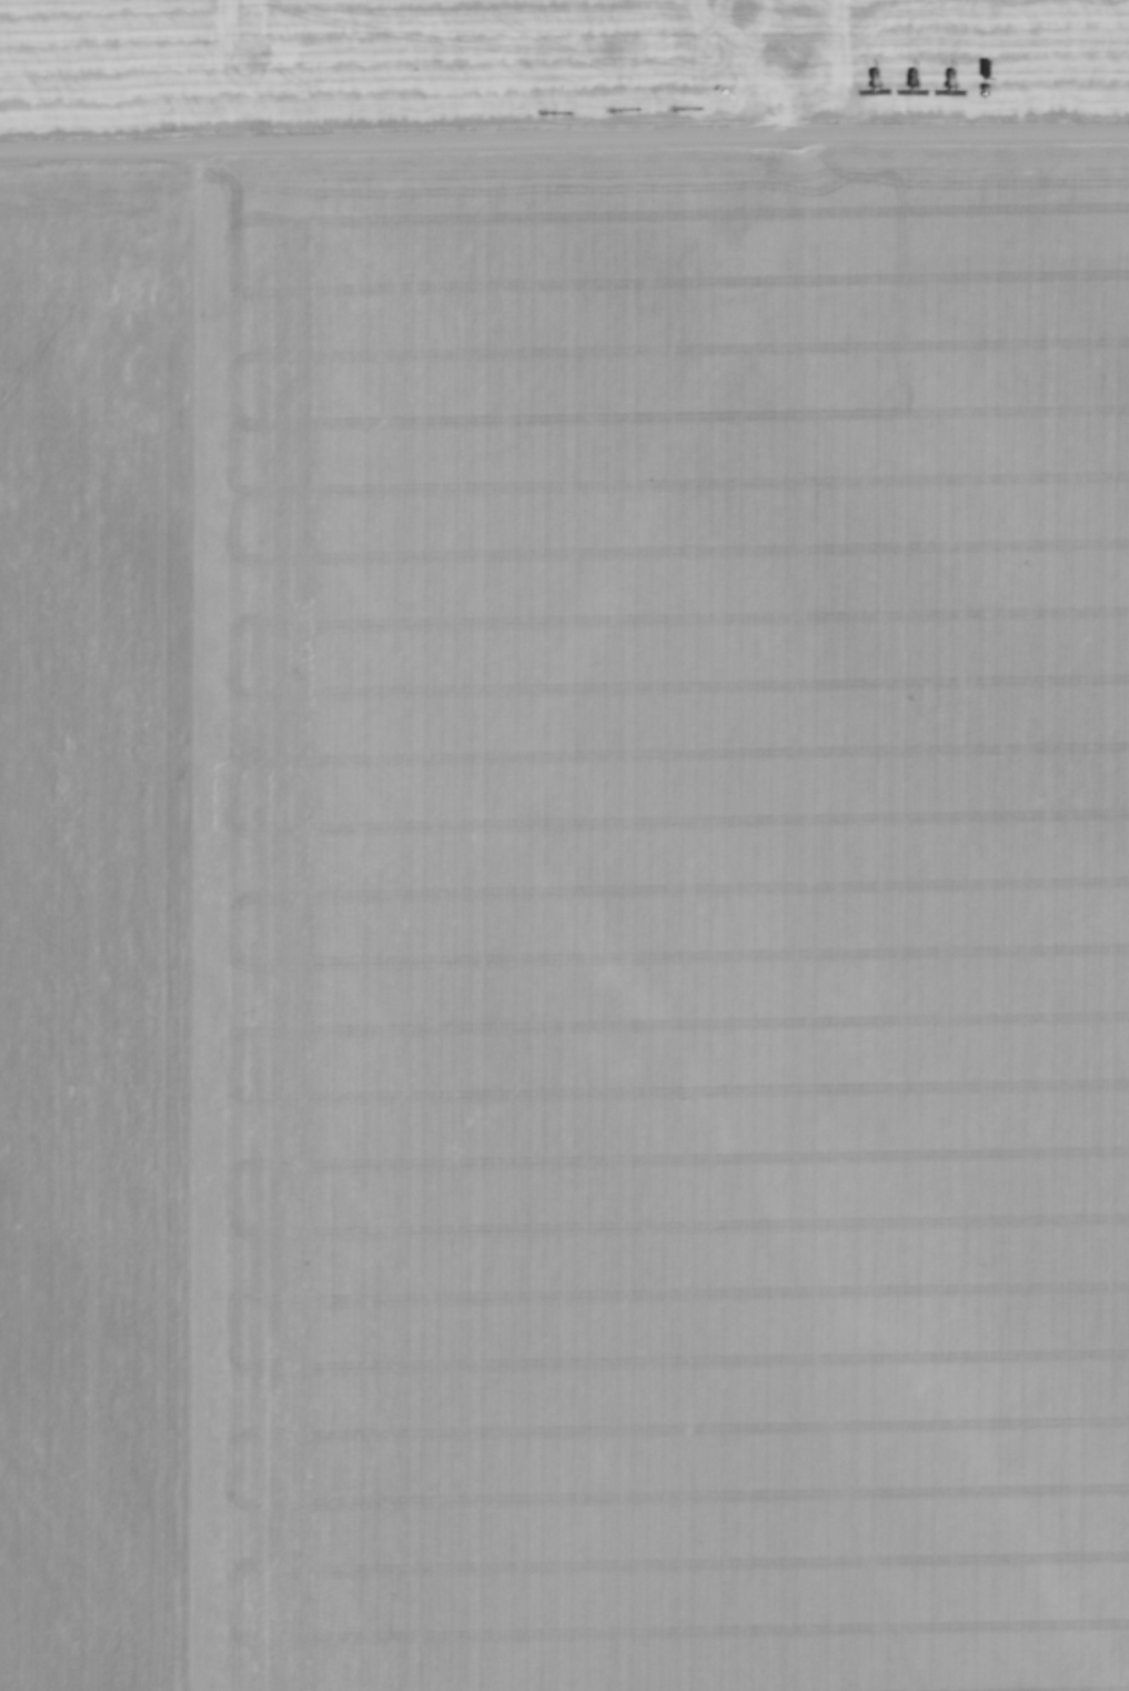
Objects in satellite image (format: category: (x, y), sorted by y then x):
crop: (561, 61)
road: (564, 138)
crop: (565, 924)

